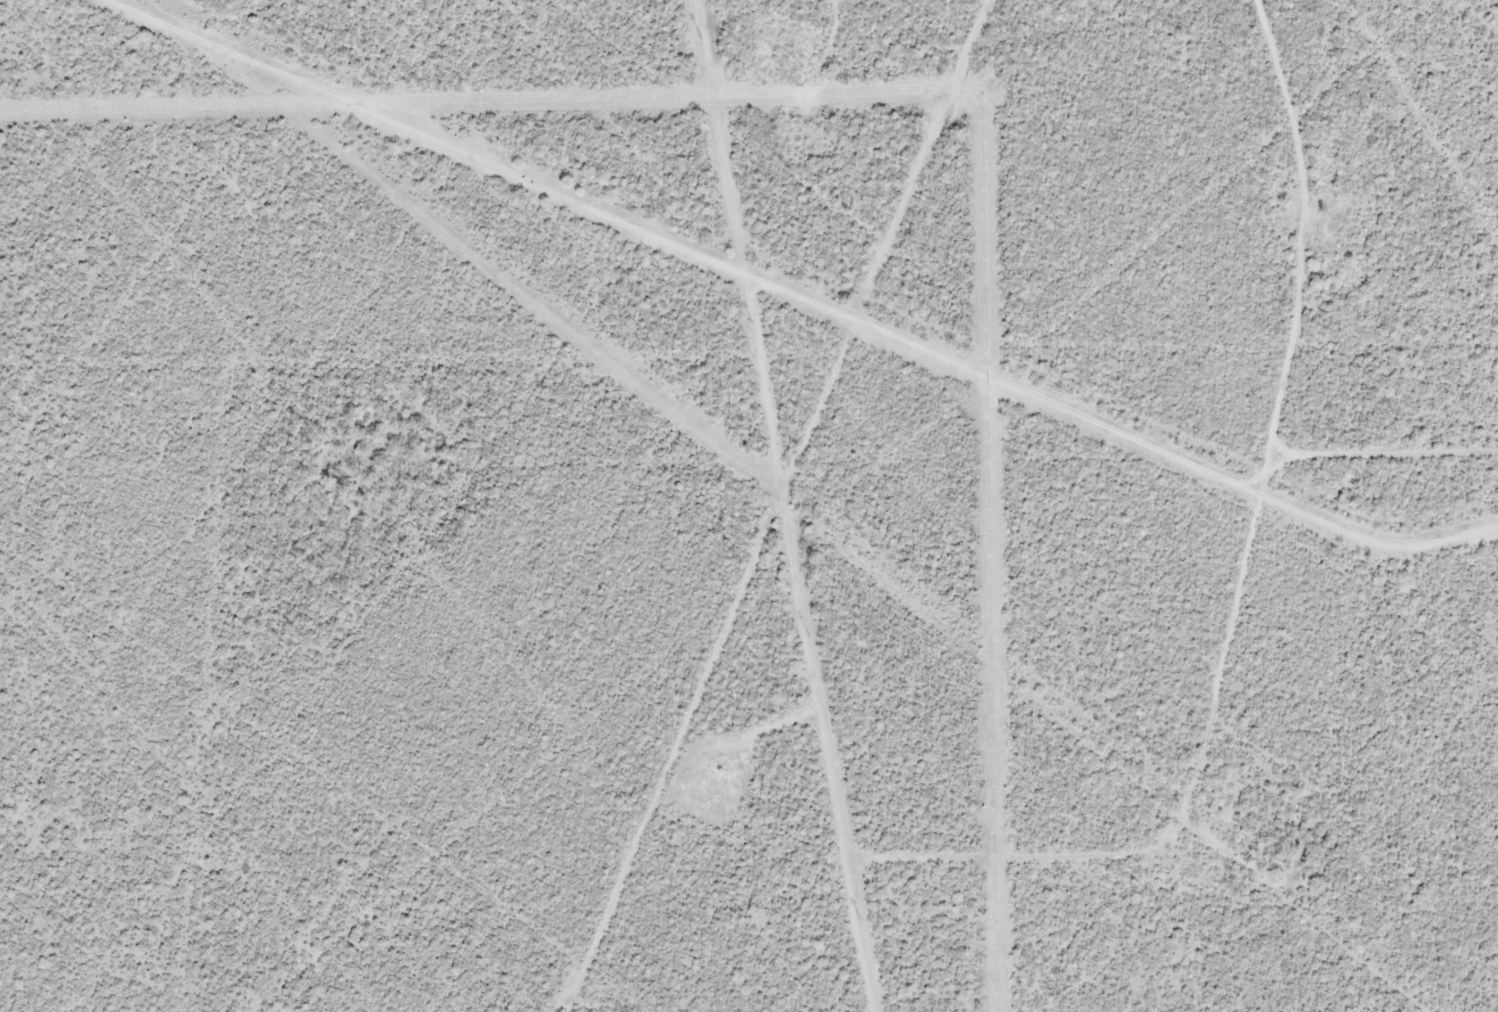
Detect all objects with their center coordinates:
power tower: (701, 37)
power tower: (752, 320)
power tower: (809, 634)
power tower: (860, 918)

